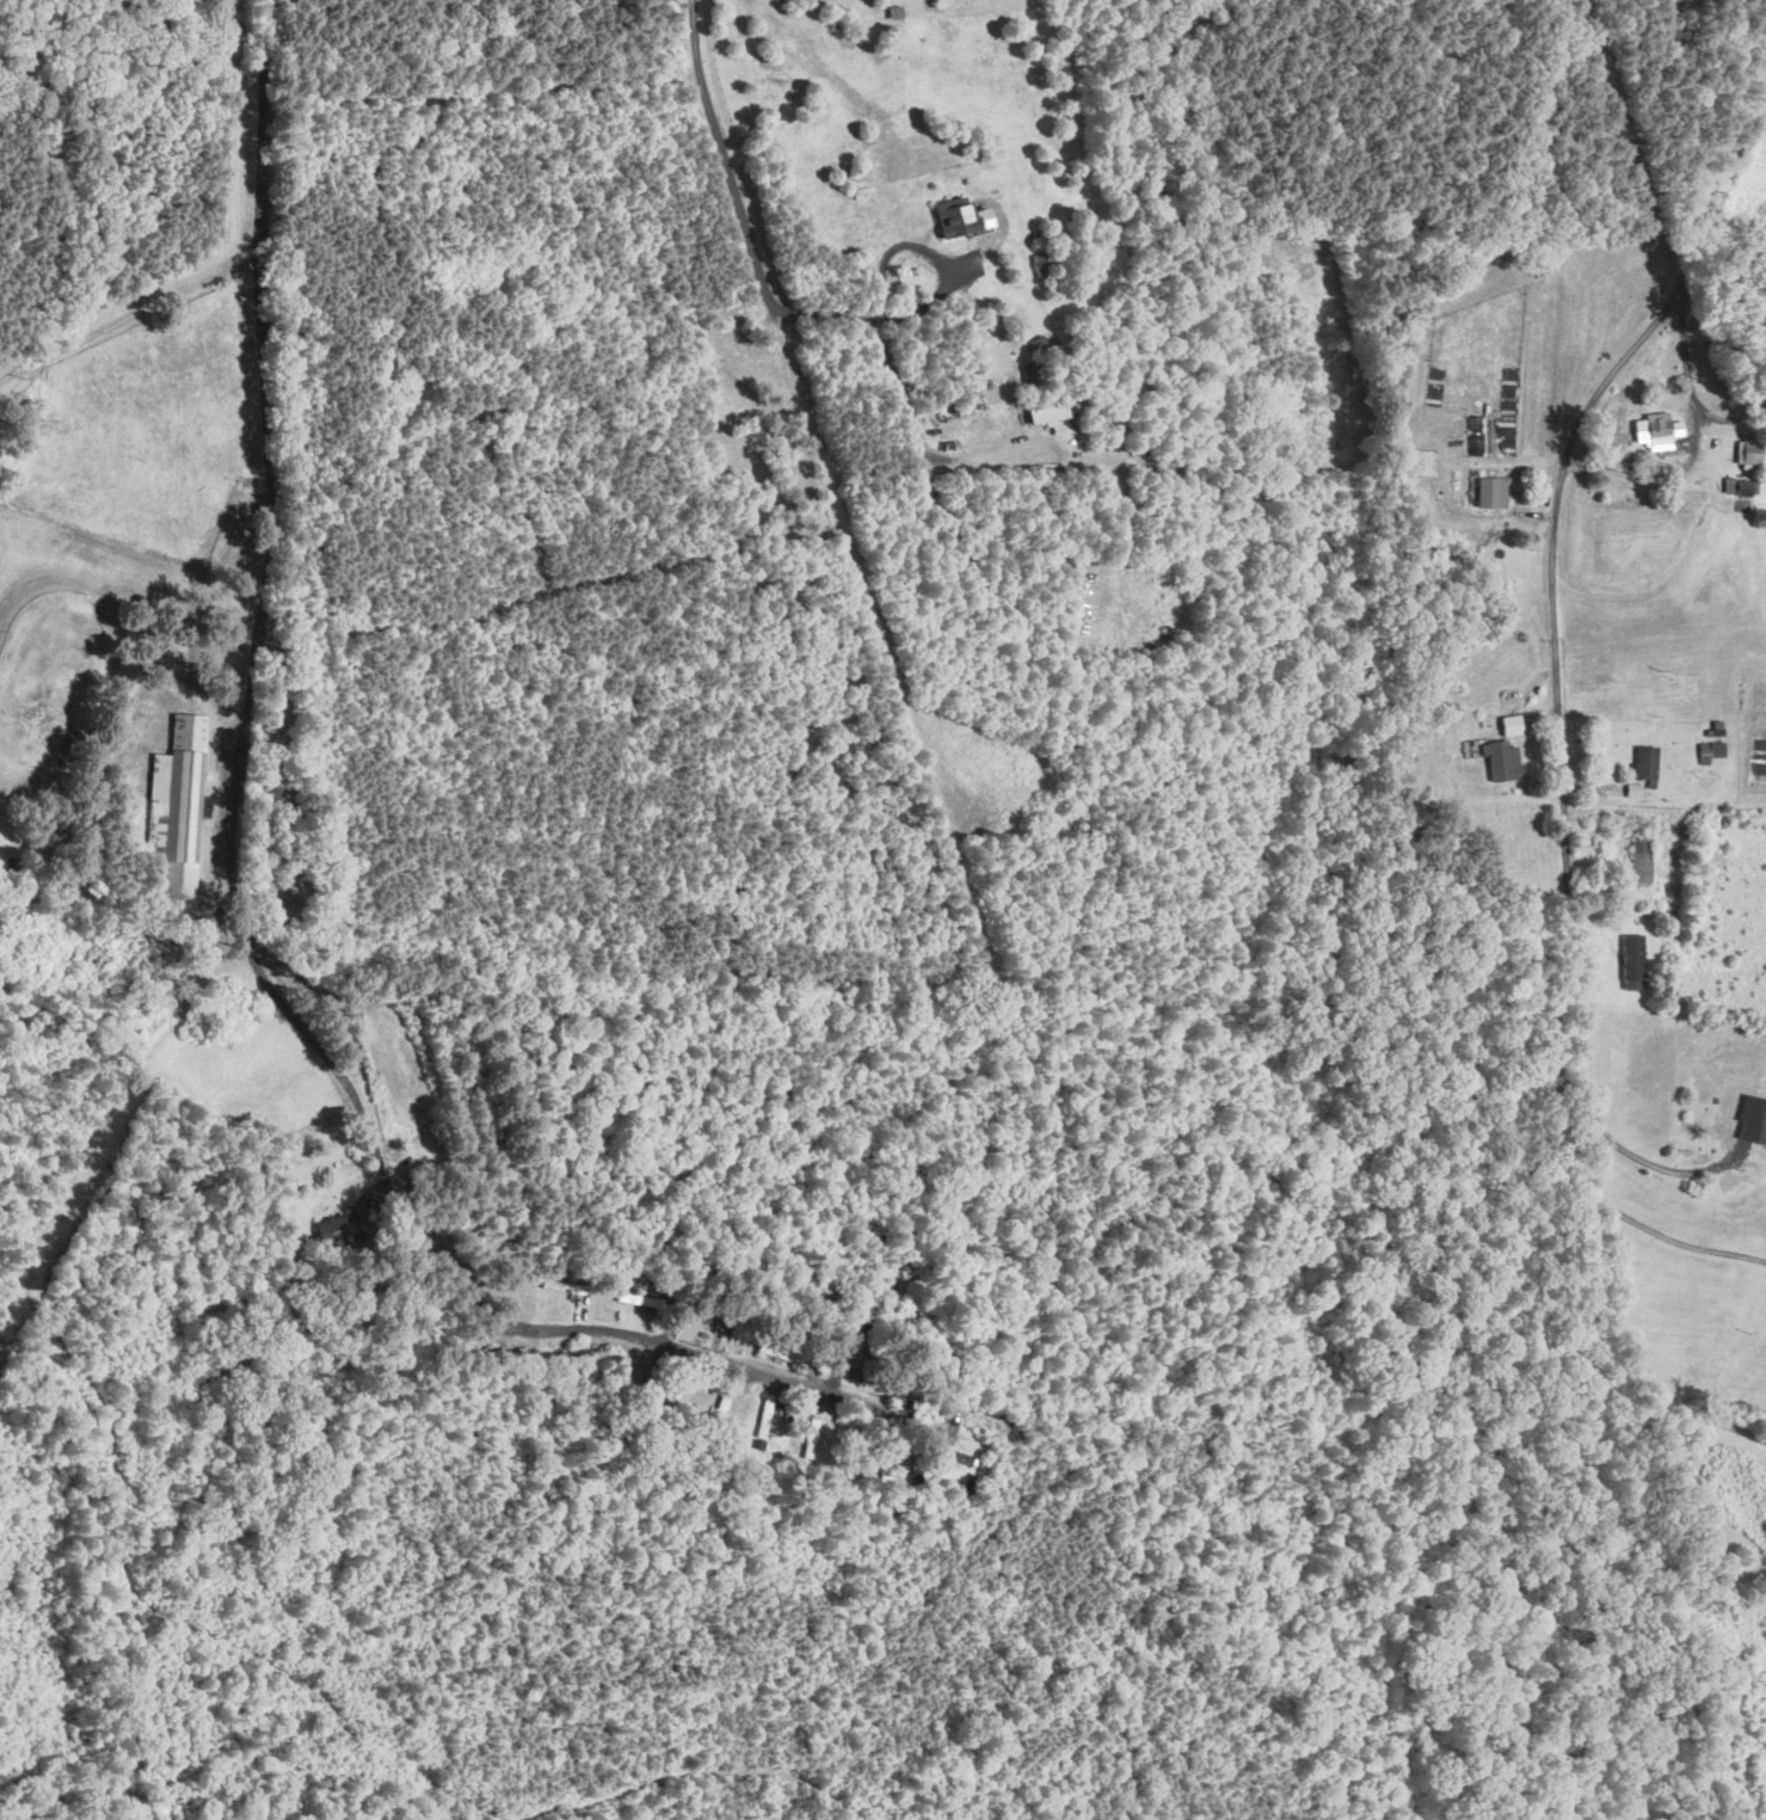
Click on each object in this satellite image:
building: (893, 11)
road: (739, 204)
building: (958, 215)
road: (934, 256)
road: (128, 313)
building: (987, 386)
road: (1690, 392)
building: (1045, 408)
building: (1654, 430)
building: (1745, 454)
building: (1422, 462)
building: (1490, 492)
road: (1557, 714)
building: (1508, 725)
building: (1709, 750)
building: (1499, 760)
building: (1639, 762)
building: (1638, 860)
road: (240, 893)
building: (1627, 961)
road: (1655, 1170)
road: (1679, 1241)
road: (1697, 1413)

